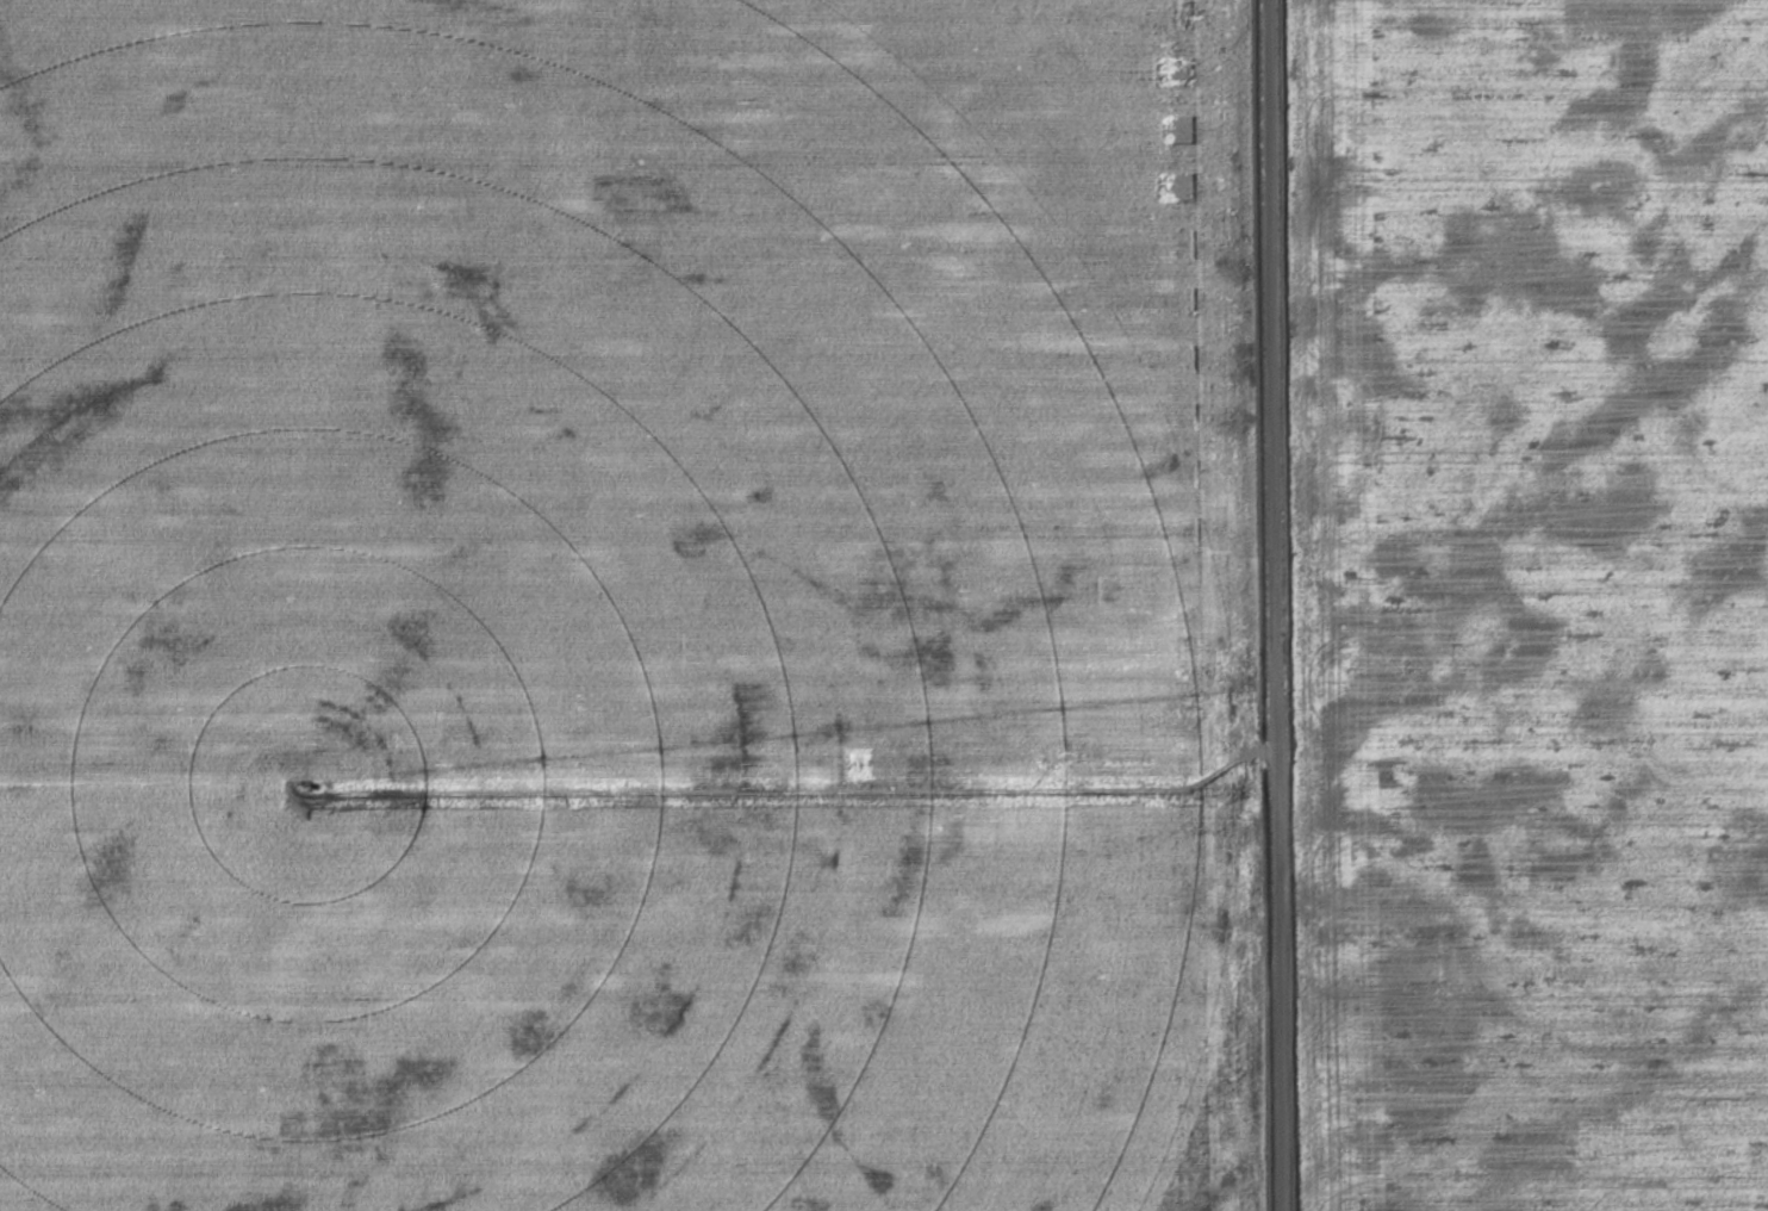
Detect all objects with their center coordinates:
road: (1276, 605)

